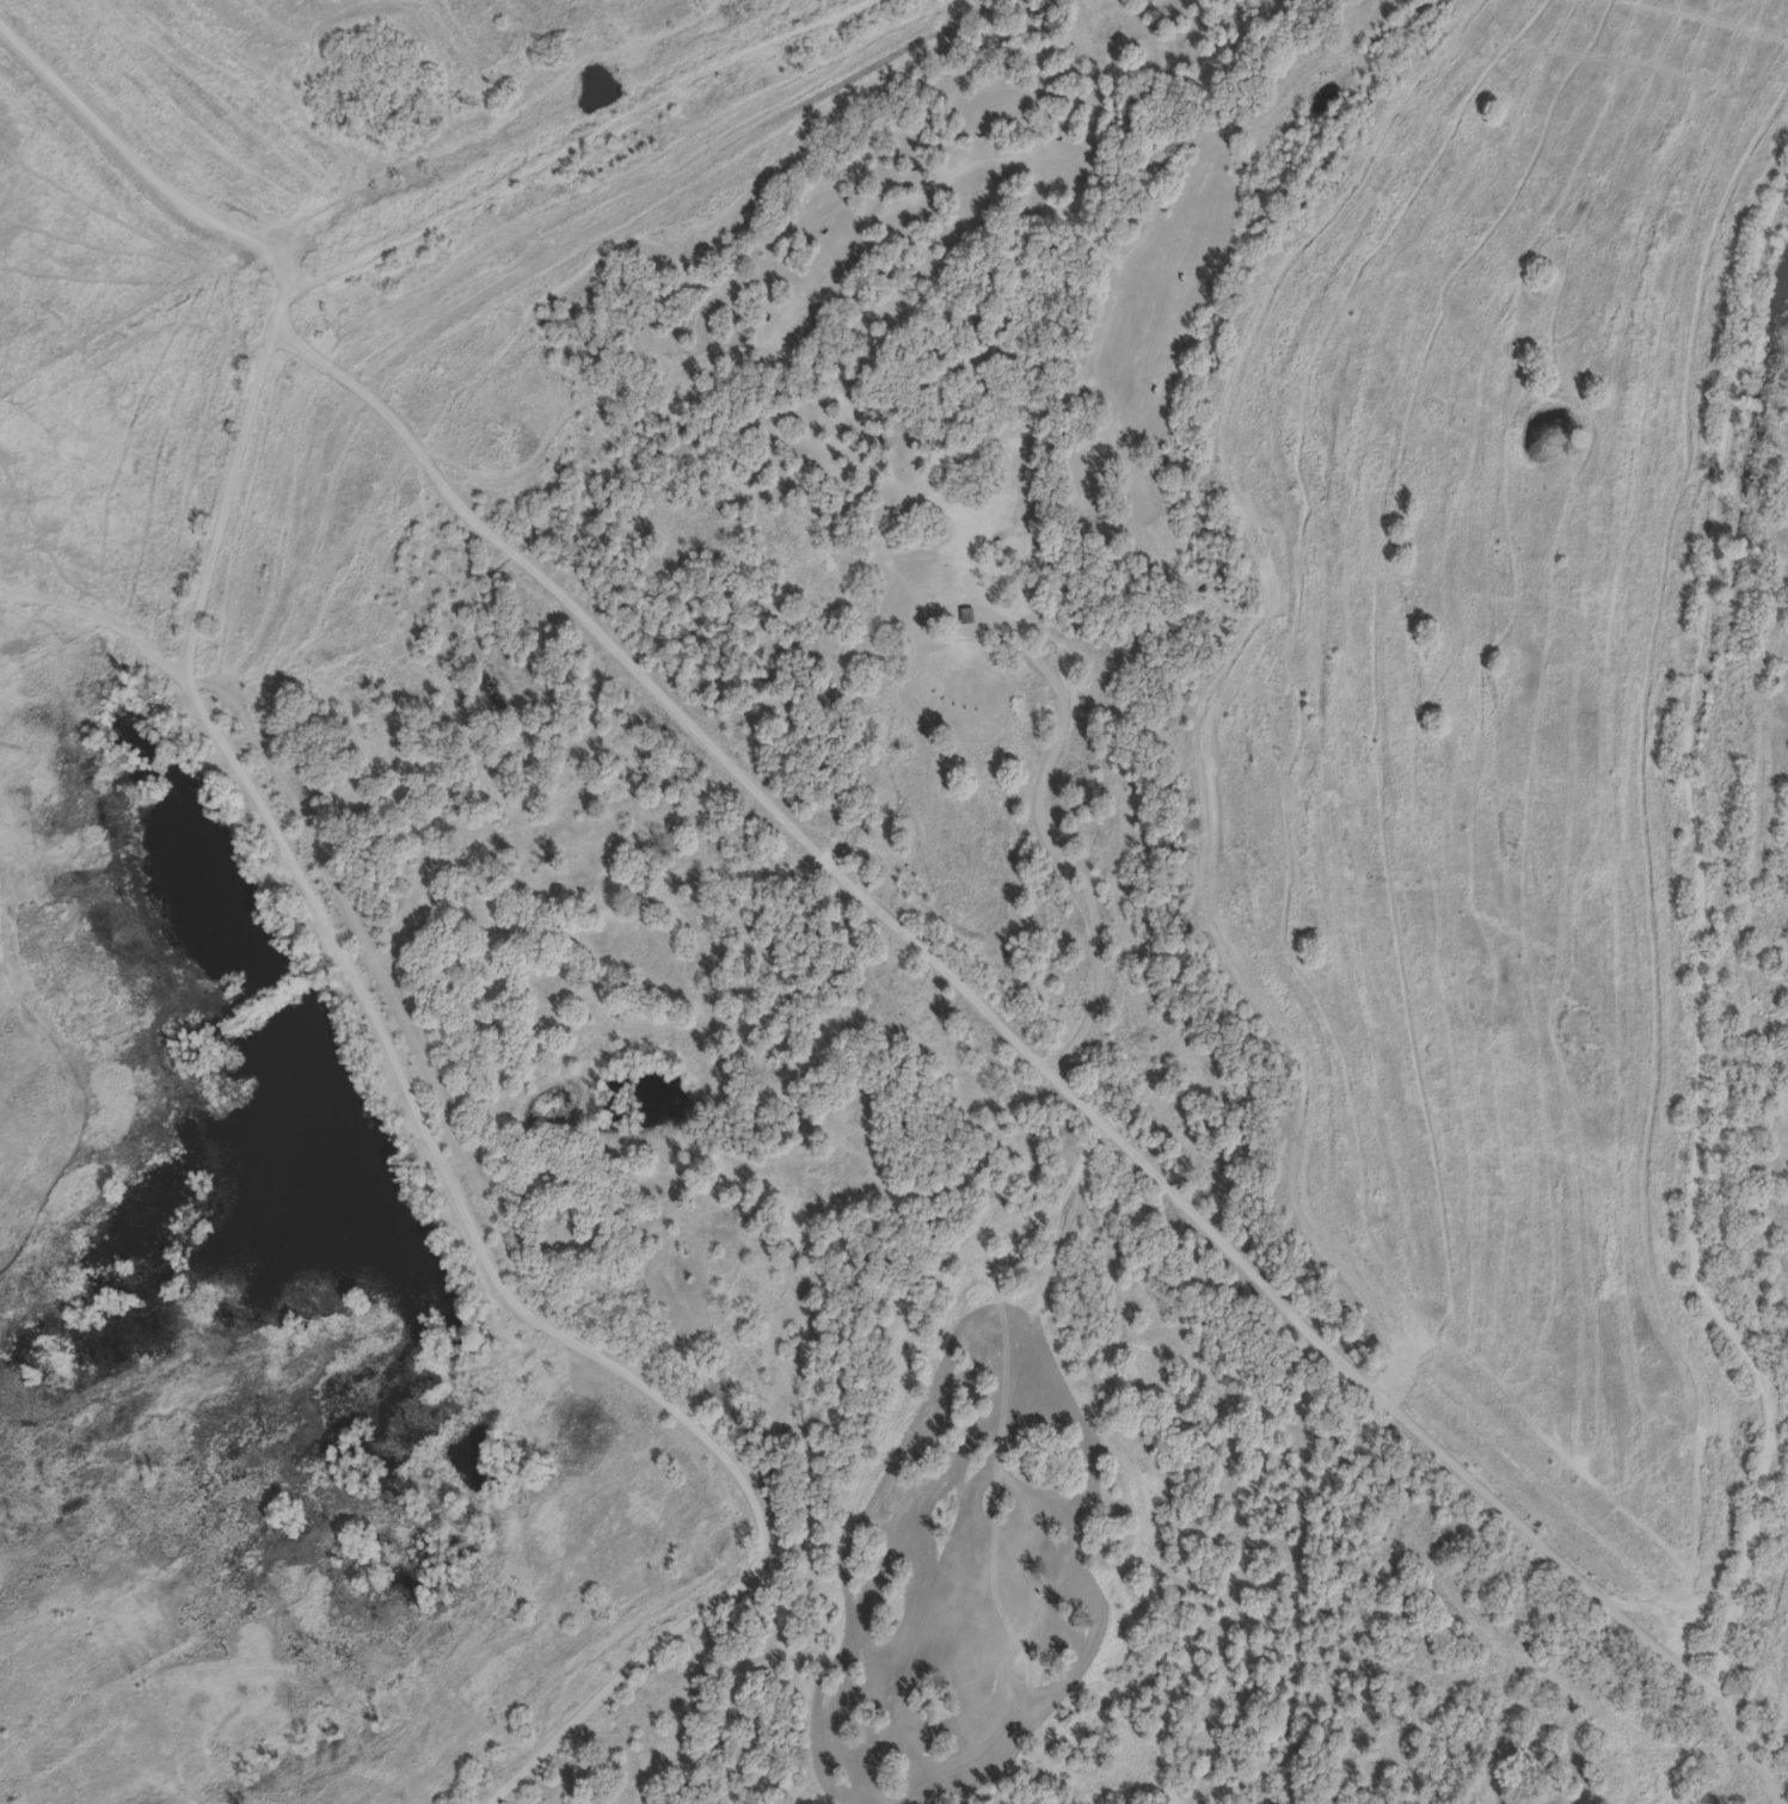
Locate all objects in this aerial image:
road: (45, 160)
road: (140, 183)
road: (117, 407)
road: (383, 447)
road: (284, 854)
road: (1715, 1006)

